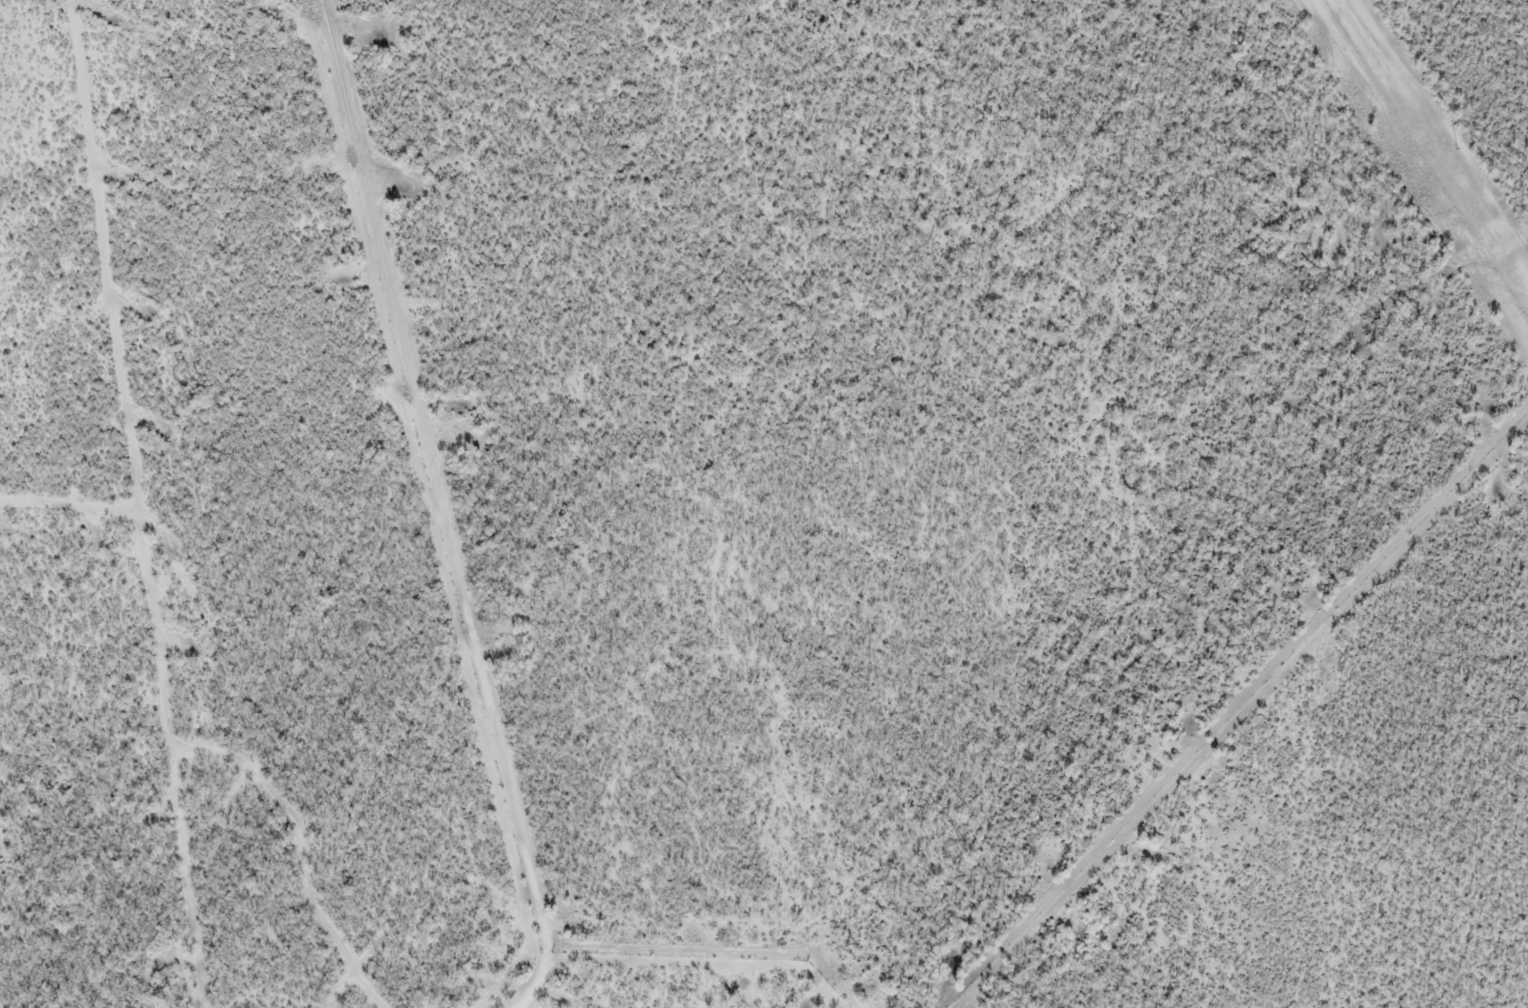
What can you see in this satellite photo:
power tower: (1455, 147)

